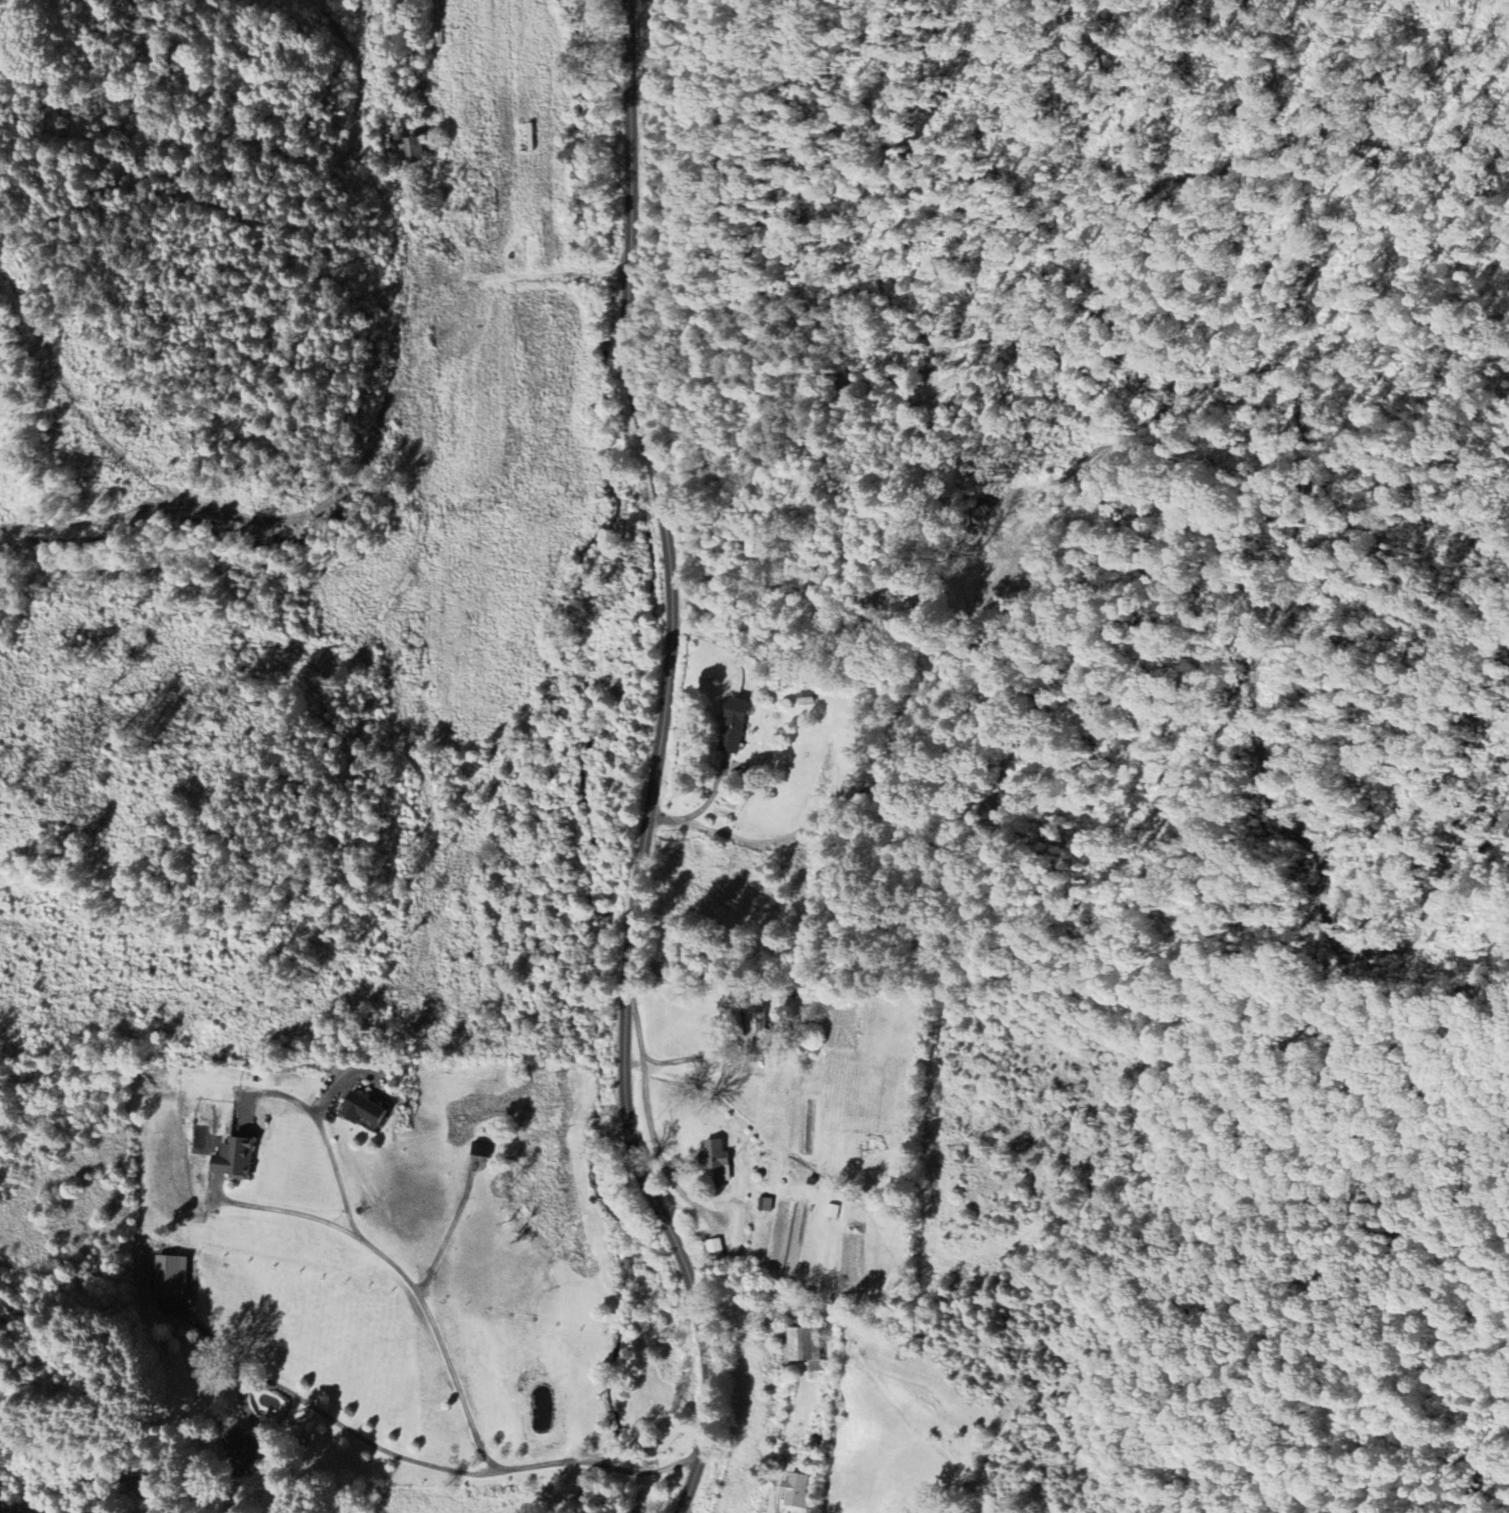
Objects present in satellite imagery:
building: (419, 151)
road: (641, 418)
building: (730, 725)
building: (761, 1020)
building: (362, 1110)
building: (482, 1150)
building: (714, 1160)
road: (653, 1178)
building: (168, 1275)
road: (440, 1343)
building: (803, 1346)
road: (354, 1434)
building: (237, 1452)
building: (796, 1490)

